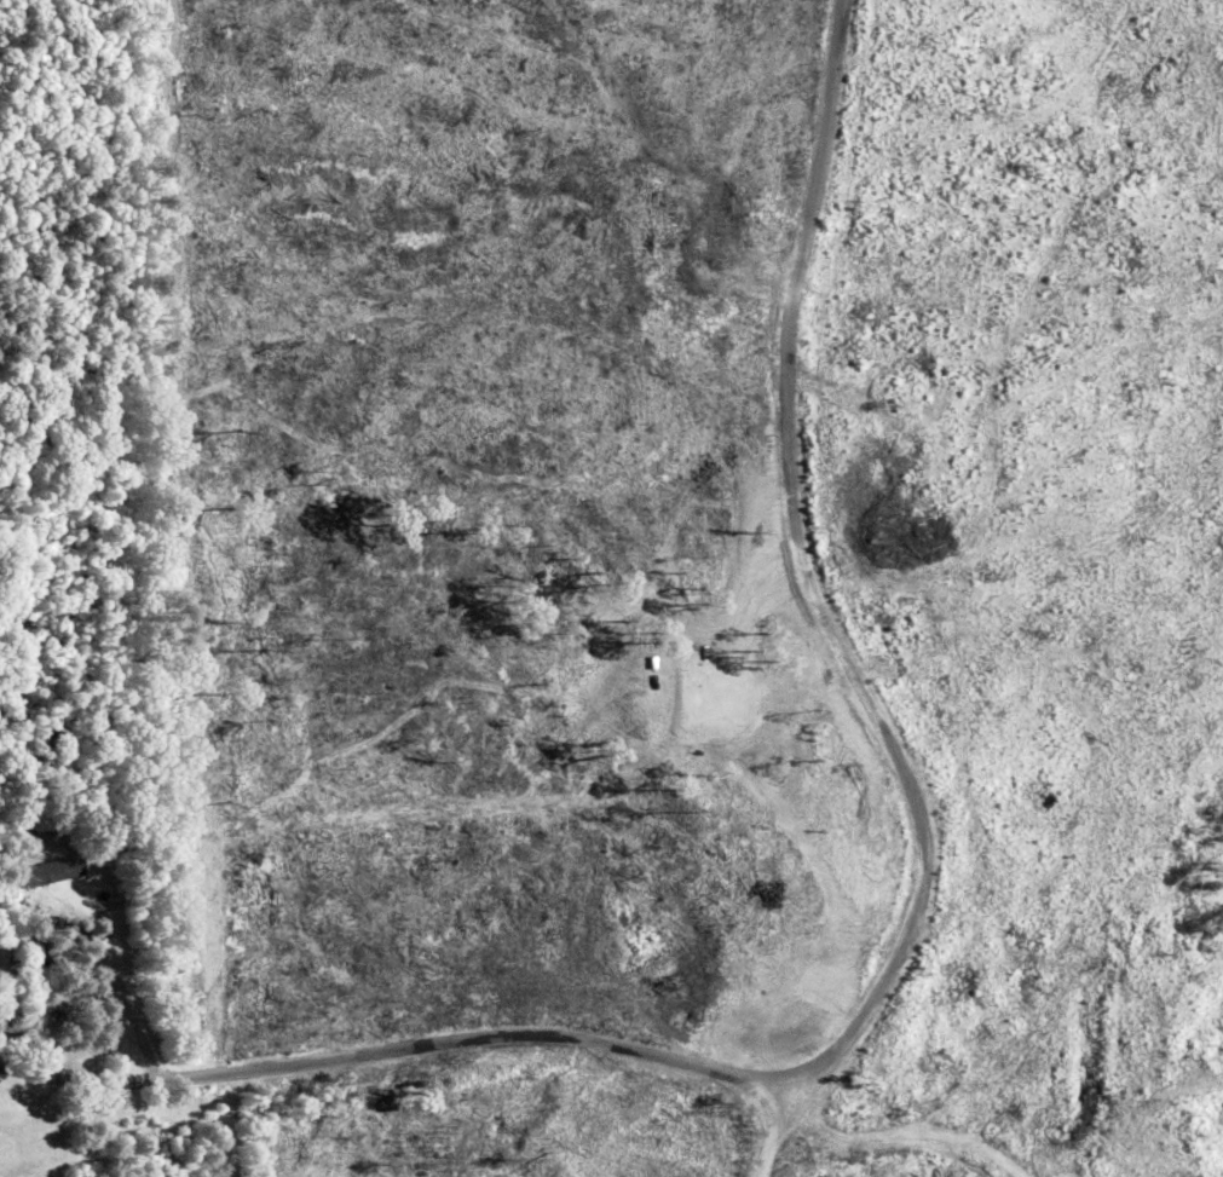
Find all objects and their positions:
road: (763, 602)
building: (53, 875)
road: (385, 1003)

